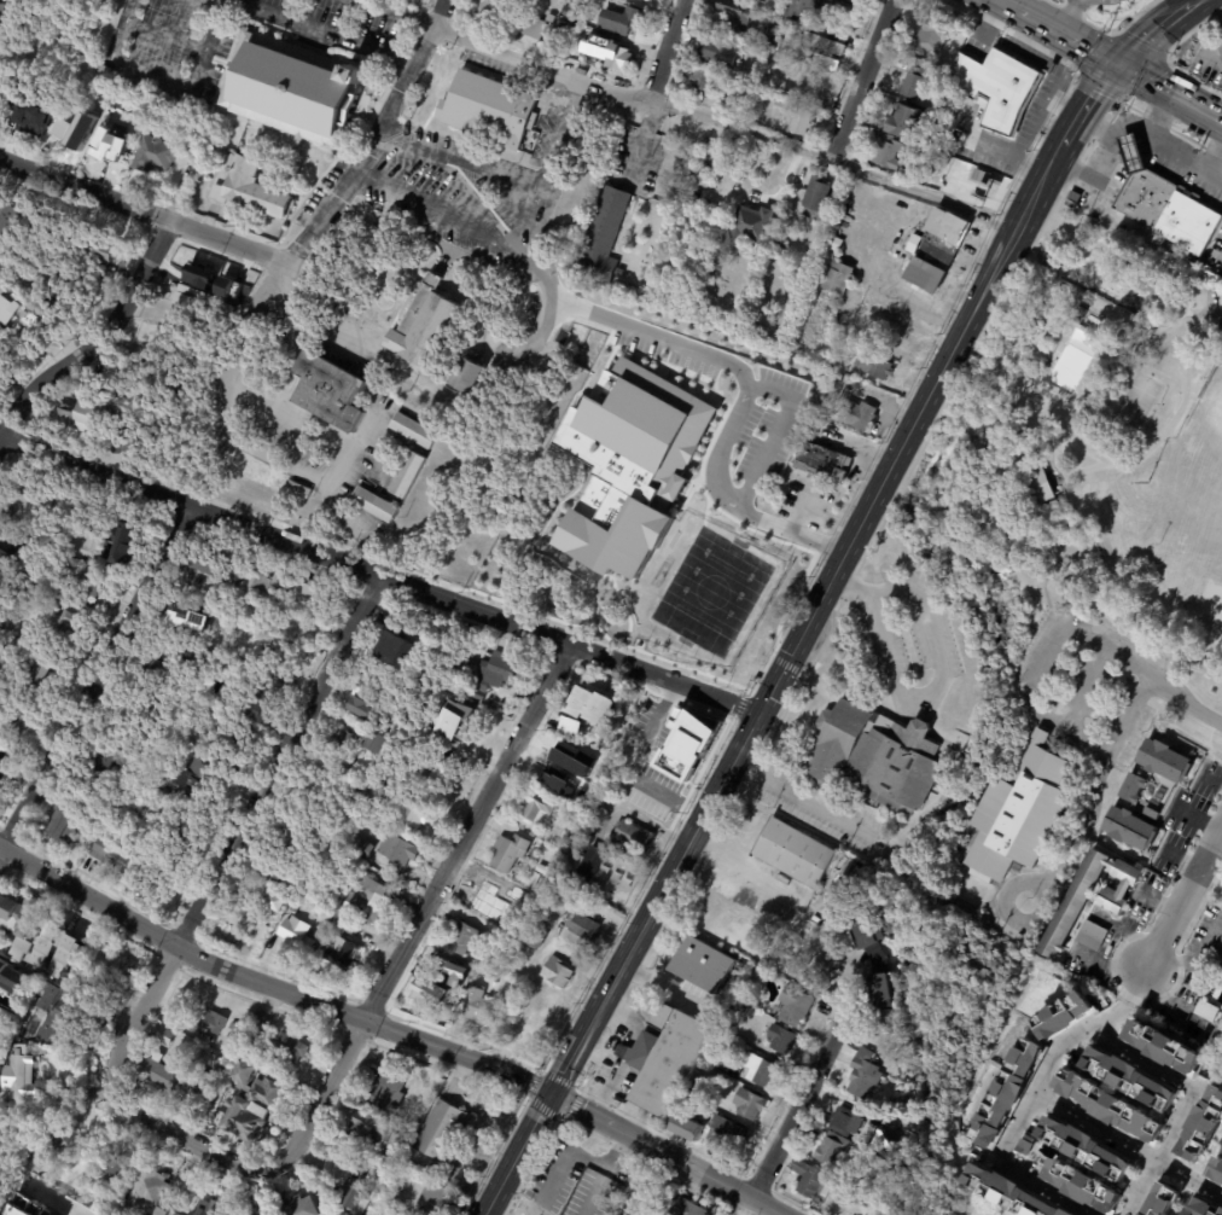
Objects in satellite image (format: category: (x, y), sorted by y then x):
road: (1192, 1)
road: (1192, 2)
road: (1217, 4)
road: (208, 5)
building: (845, 8)
road: (1000, 8)
building: (495, 10)
building: (10, 11)
building: (799, 11)
road: (440, 13)
building: (734, 13)
building: (634, 17)
building: (552, 19)
road: (1070, 19)
building: (534, 28)
road: (325, 31)
building: (931, 34)
road: (1151, 36)
road: (165, 39)
road: (1065, 42)
building: (830, 47)
road: (664, 51)
building: (615, 54)
building: (717, 54)
building: (825, 62)
building: (103, 70)
traffic signals: (1116, 70)
road: (1128, 76)
road: (405, 77)
building: (697, 80)
road: (862, 80)
road: (167, 82)
building: (912, 86)
building: (7, 87)
building: (773, 87)
building: (994, 87)
road: (1151, 88)
building: (45, 89)
building: (295, 89)
building: (811, 89)
building: (767, 97)
building: (185, 104)
road: (1084, 104)
building: (103, 107)
road: (1188, 107)
building: (491, 110)
road: (687, 110)
road: (1154, 110)
building: (34, 111)
building: (1111, 112)
building: (791, 117)
road: (1094, 124)
road: (1220, 126)
road: (1131, 129)
building: (77, 130)
building: (1187, 133)
building: (897, 136)
building: (1195, 138)
road: (641, 144)
building: (117, 145)
road: (363, 149)
building: (1177, 149)
road: (1214, 153)
building: (156, 155)
building: (682, 156)
road: (455, 159)
building: (721, 161)
building: (925, 161)
road: (546, 162)
building: (962, 167)
building: (254, 190)
road: (86, 191)
building: (814, 196)
building: (1070, 202)
building: (1164, 204)
road: (436, 205)
road: (318, 215)
building: (7, 219)
building: (749, 226)
building: (606, 239)
road: (228, 240)
building: (831, 243)
building: (779, 248)
building: (933, 250)
building: (105, 251)
road: (1170, 262)
building: (717, 264)
building: (199, 275)
building: (834, 279)
building: (228, 287)
building: (77, 293)
building: (190, 306)
road: (1221, 309)
road: (1203, 310)
building: (17, 314)
building: (1077, 314)
road: (1182, 314)
building: (225, 315)
building: (426, 325)
parking lot: (1216, 325)
road: (94, 341)
road: (1205, 341)
building: (871, 366)
road: (740, 372)
building: (475, 379)
road: (221, 380)
building: (332, 391)
building: (834, 391)
park: (1135, 401)
building: (856, 415)
building: (83, 418)
building: (164, 430)
building: (414, 430)
road: (775, 434)
road: (1159, 435)
building: (138, 442)
park: (1200, 442)
building: (821, 464)
building: (629, 465)
building: (258, 475)
building: (408, 475)
park: (1076, 477)
building: (1037, 487)
park: (639, 488)
building: (299, 490)
building: (501, 496)
building: (31, 499)
building: (374, 505)
road: (803, 507)
road: (921, 511)
building: (2, 517)
building: (132, 530)
building: (82, 540)
building: (124, 545)
building: (13, 553)
road: (1007, 558)
building: (210, 564)
road: (378, 574)
building: (264, 583)
building: (86, 592)
building: (308, 595)
building: (37, 598)
park: (1209, 600)
building: (266, 607)
building: (290, 612)
building: (181, 618)
building: (257, 633)
building: (59, 634)
building: (397, 644)
building: (10, 646)
building: (834, 650)
building: (242, 653)
building: (193, 655)
building: (459, 659)
building: (432, 667)
building: (41, 672)
building: (168, 673)
building: (500, 673)
road: (94, 678)
building: (425, 680)
building: (755, 680)
road: (774, 680)
road: (1175, 690)
road: (918, 691)
road: (1031, 696)
building: (367, 700)
building: (479, 700)
building: (580, 702)
building: (260, 703)
building: (593, 715)
building: (21, 719)
building: (454, 720)
building: (144, 721)
building: (569, 726)
building: (696, 729)
building: (639, 731)
road: (1129, 736)
building: (714, 743)
building: (342, 745)
building: (383, 746)
building: (2, 756)
building: (873, 756)
building: (568, 762)
building: (104, 765)
building: (194, 774)
building: (0, 778)
building: (0, 781)
building: (659, 795)
building: (1131, 795)
road: (802, 798)
building: (359, 808)
building: (540, 808)
building: (414, 810)
building: (1151, 814)
building: (1014, 816)
building: (564, 820)
building: (191, 824)
building: (66, 825)
road: (239, 827)
building: (298, 831)
road: (1078, 833)
building: (336, 838)
building: (629, 838)
building: (365, 850)
building: (401, 851)
building: (511, 851)
building: (792, 853)
building: (114, 856)
building: (535, 856)
building: (167, 864)
building: (593, 864)
building: (542, 868)
building: (280, 870)
building: (536, 878)
road: (1182, 891)
building: (570, 894)
building: (488, 895)
building: (321, 900)
building: (371, 901)
building: (277, 903)
building: (528, 907)
building: (297, 908)
building: (1069, 911)
road: (421, 912)
building: (18, 924)
building: (584, 928)
building: (861, 934)
building: (466, 937)
building: (539, 937)
building: (1088, 937)
building: (298, 940)
building: (342, 948)
building: (72, 953)
building: (1217, 960)
building: (442, 961)
building: (699, 966)
building: (757, 969)
building: (560, 973)
building: (123, 975)
building: (755, 978)
building: (4, 983)
building: (31, 984)
building: (432, 992)
building: (879, 993)
building: (565, 996)
road: (1125, 1005)
building: (482, 1006)
building: (797, 1006)
building: (60, 1013)
building: (520, 1013)
building: (1203, 1013)
building: (1063, 1016)
building: (211, 1021)
building: (232, 1025)
road: (390, 1028)
building: (165, 1035)
building: (255, 1036)
road: (1082, 1037)
building: (725, 1039)
building: (781, 1039)
building: (1215, 1040)
building: (2, 1042)
building: (1162, 1047)
building: (292, 1048)
building: (209, 1051)
building: (665, 1059)
building: (722, 1063)
building: (221, 1066)
building: (763, 1070)
building: (161, 1072)
building: (19, 1075)
building: (865, 1075)
building: (1129, 1079)
building: (256, 1083)
building: (199, 1086)
building: (390, 1087)
building: (703, 1092)
building: (1007, 1092)
traffic signals: (548, 1093)
building: (751, 1103)
building: (1108, 1106)
building: (889, 1110)
road: (790, 1116)
building: (244, 1120)
building: (849, 1120)
building: (1201, 1124)
building: (414, 1127)
building: (691, 1128)
building: (368, 1130)
building: (446, 1133)
building: (731, 1134)
road: (182, 1136)
building: (52, 1140)
building: (400, 1141)
road: (1125, 1146)
building: (1084, 1147)
building: (833, 1149)
building: (369, 1152)
building: (392, 1158)
building: (339, 1167)
building: (1215, 1170)
building: (112, 1172)
building: (892, 1173)
building: (378, 1176)
building: (814, 1181)
building: (1082, 1186)
building: (639, 1190)
building: (149, 1193)
building: (435, 1198)
road: (58, 1201)
building: (1040, 1201)
building: (355, 1202)
building: (881, 1204)
building: (301, 1207)
building: (208, 1208)
building: (688, 1208)
building: (1203, 1208)
building: (1147, 1209)
building: (260, 1211)
building: (604, 1211)
building: (46, 1214)
building: (1080, 1214)
building: (1169, 1214)

